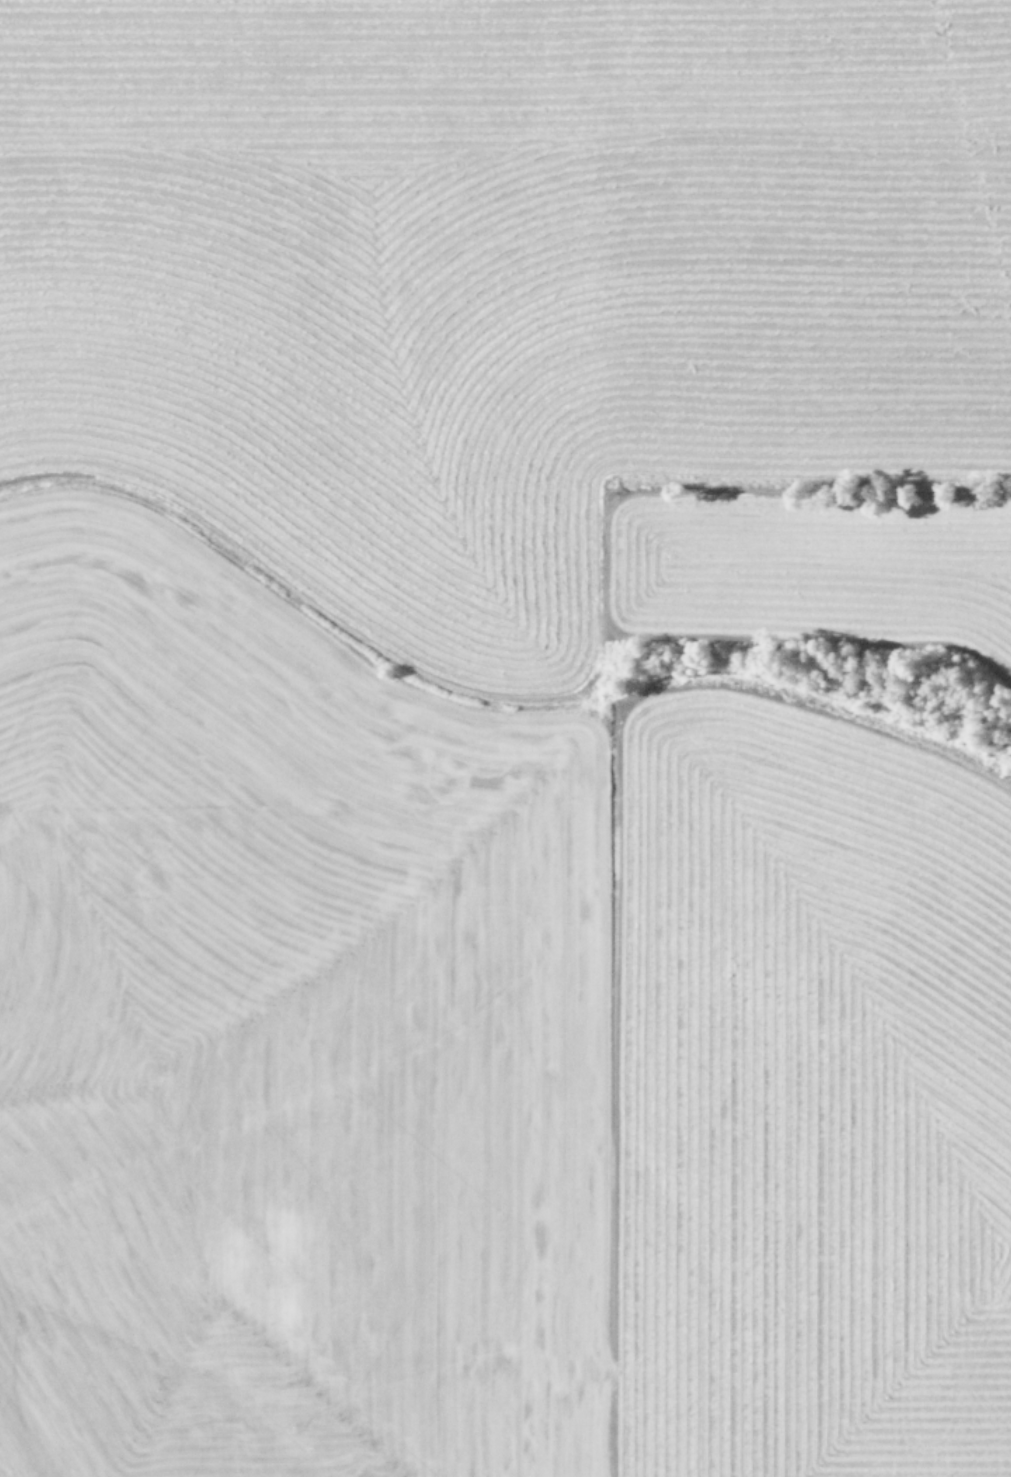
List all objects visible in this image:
crop: (505, 738)

